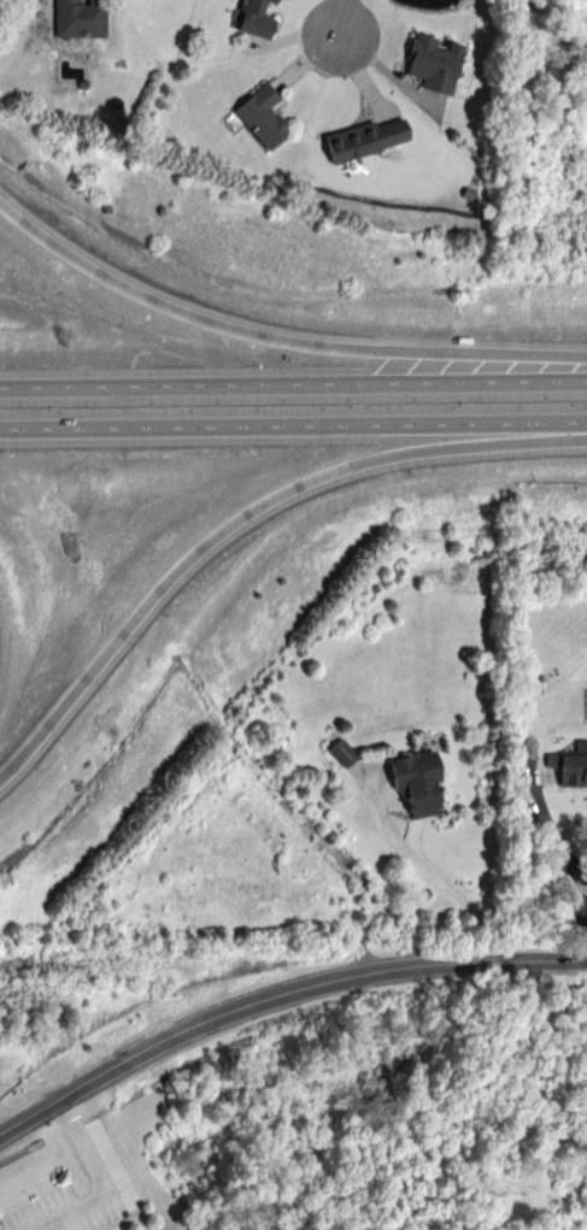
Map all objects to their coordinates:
building: (81, 17)
building: (256, 17)
road: (342, 18)
building: (434, 61)
building: (262, 113)
building: (365, 137)
road: (276, 337)
road: (293, 384)
road: (293, 425)
road: (242, 518)
building: (342, 751)
building: (569, 766)
building: (417, 779)
road: (554, 849)
road: (439, 884)
road: (277, 994)
road: (94, 1182)

